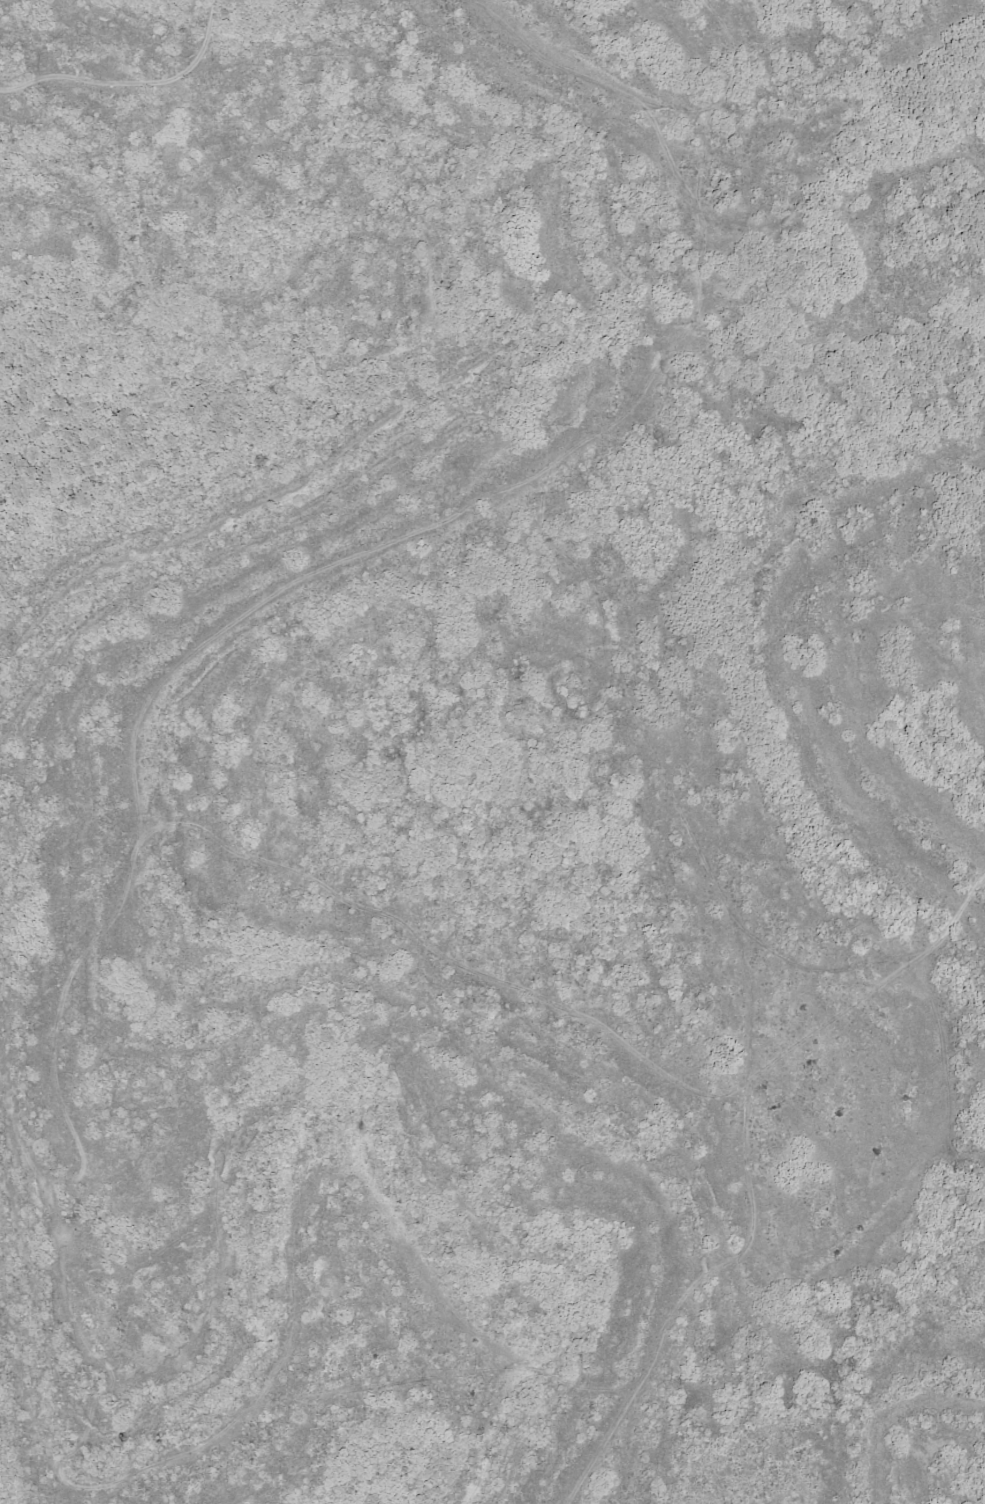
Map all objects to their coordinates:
road: (137, 51)
road: (584, 67)
road: (592, 613)
road: (705, 1266)

